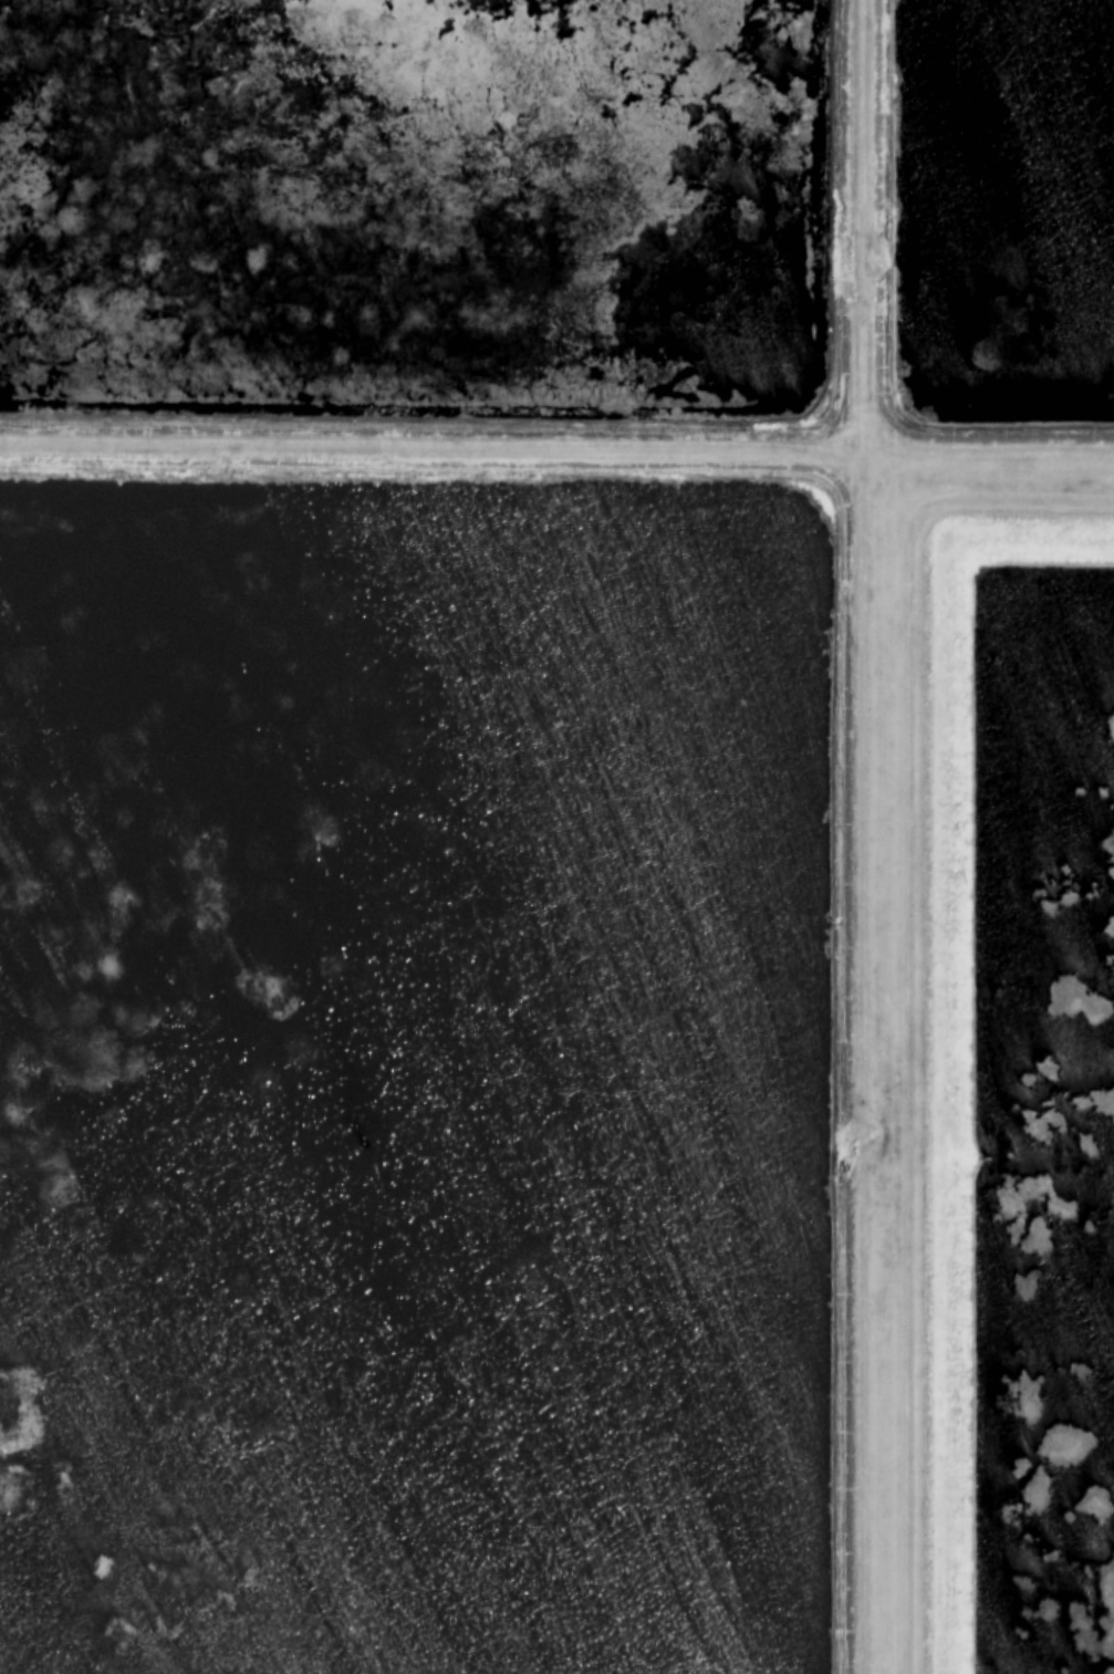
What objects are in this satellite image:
road: (988, 453)
wastewater plant: (556, 836)
road: (863, 836)

